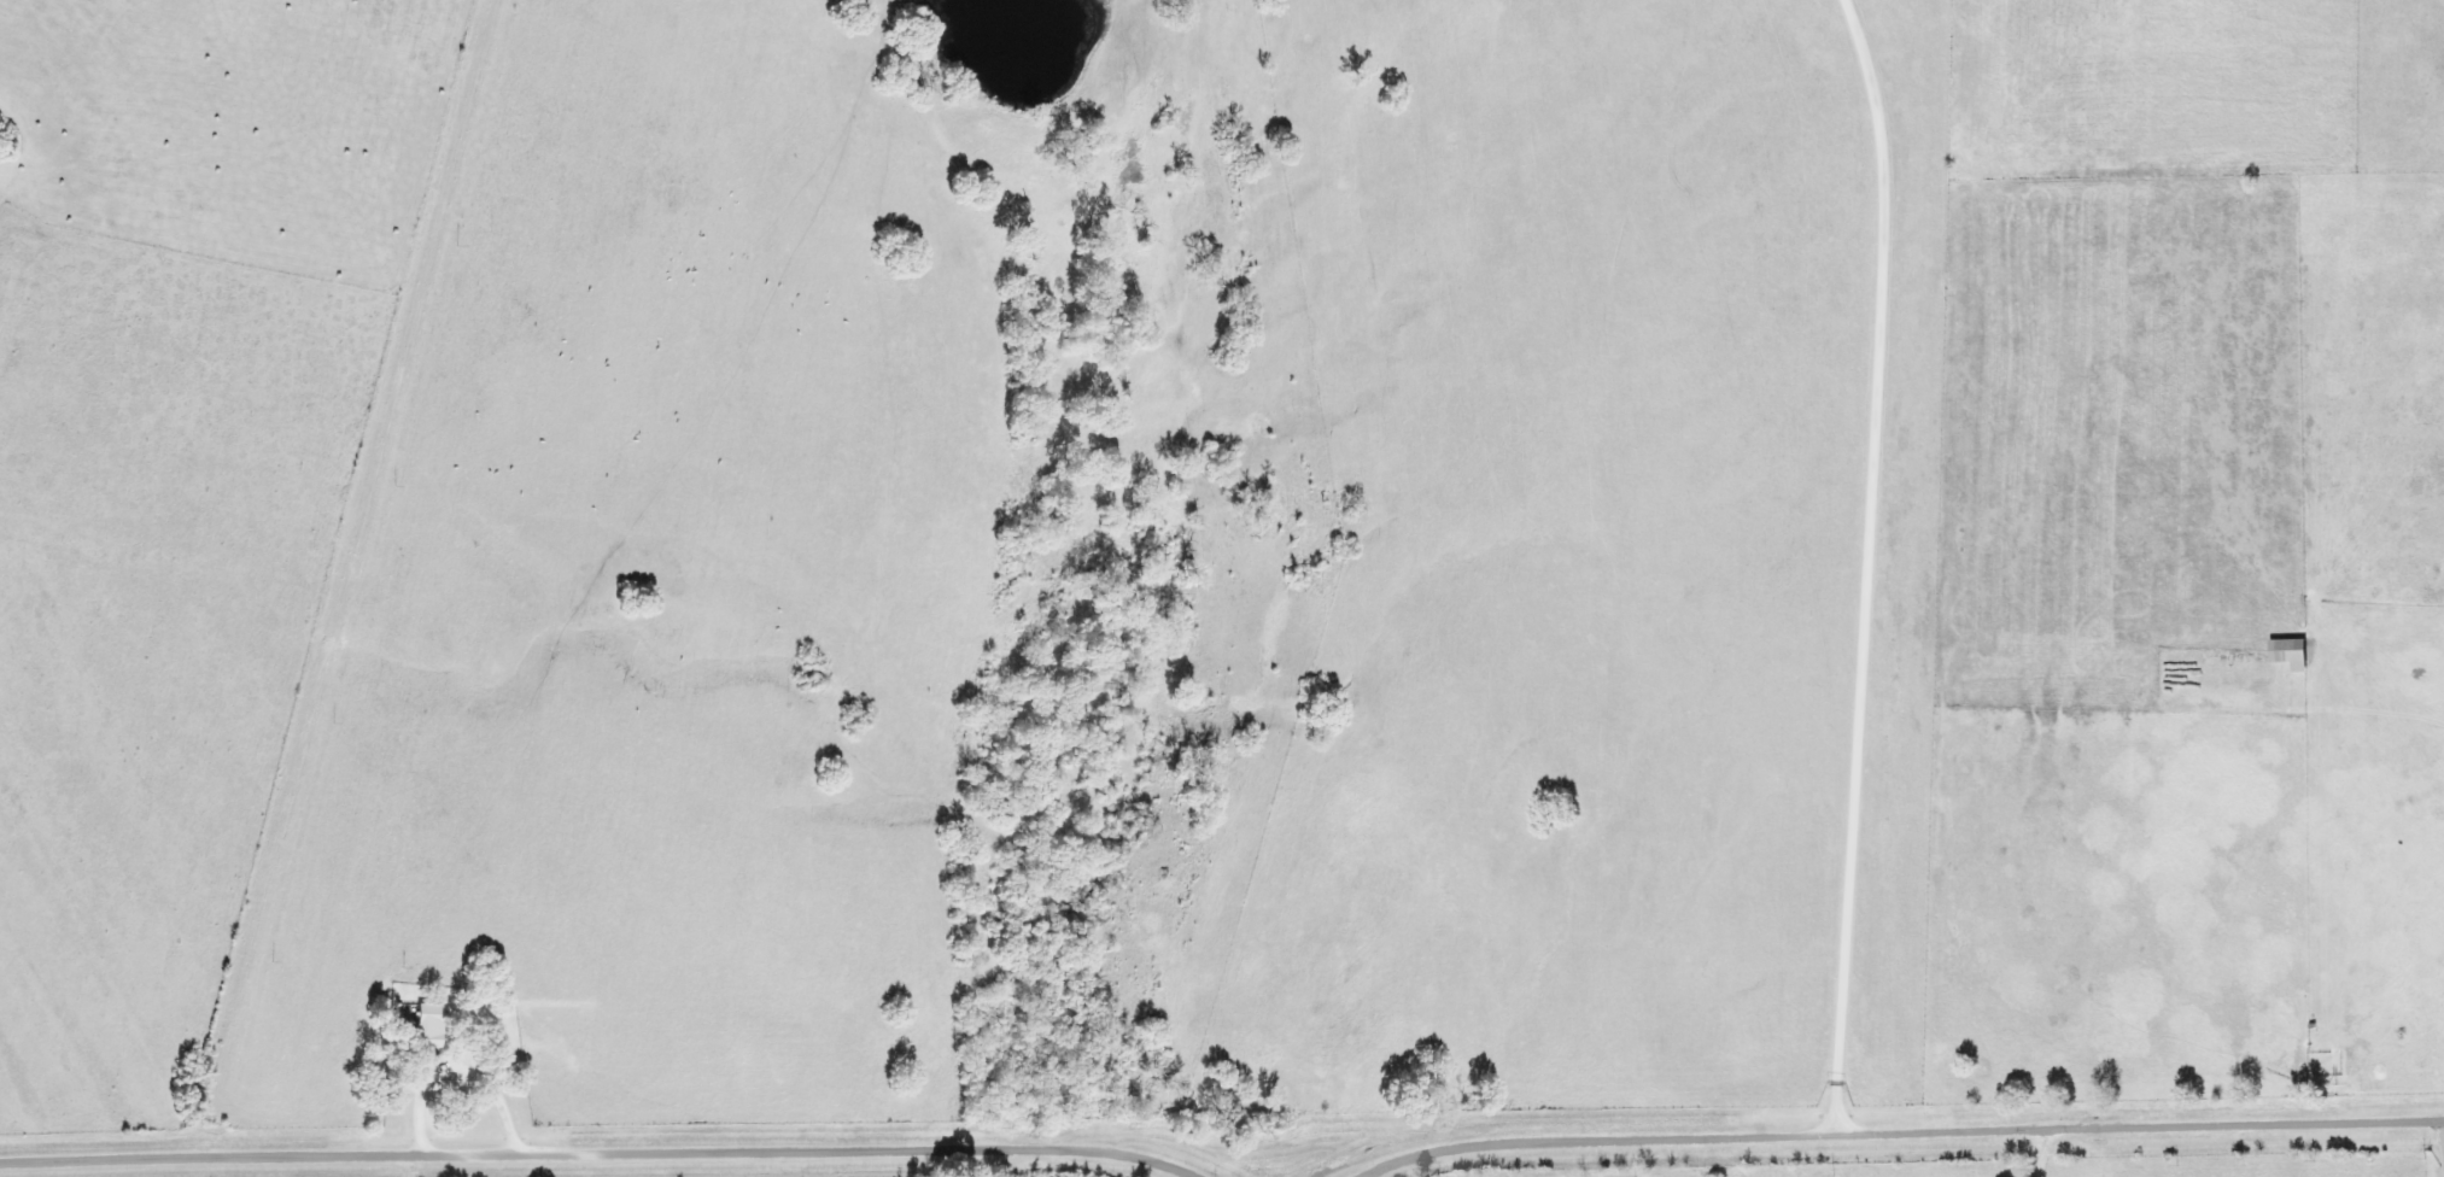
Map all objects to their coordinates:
road: (1866, 563)
road: (356, 574)
building: (2293, 654)
building: (431, 1024)
road: (2443, 1119)
road: (1900, 1126)
road: (603, 1150)
road: (2042, 1150)

